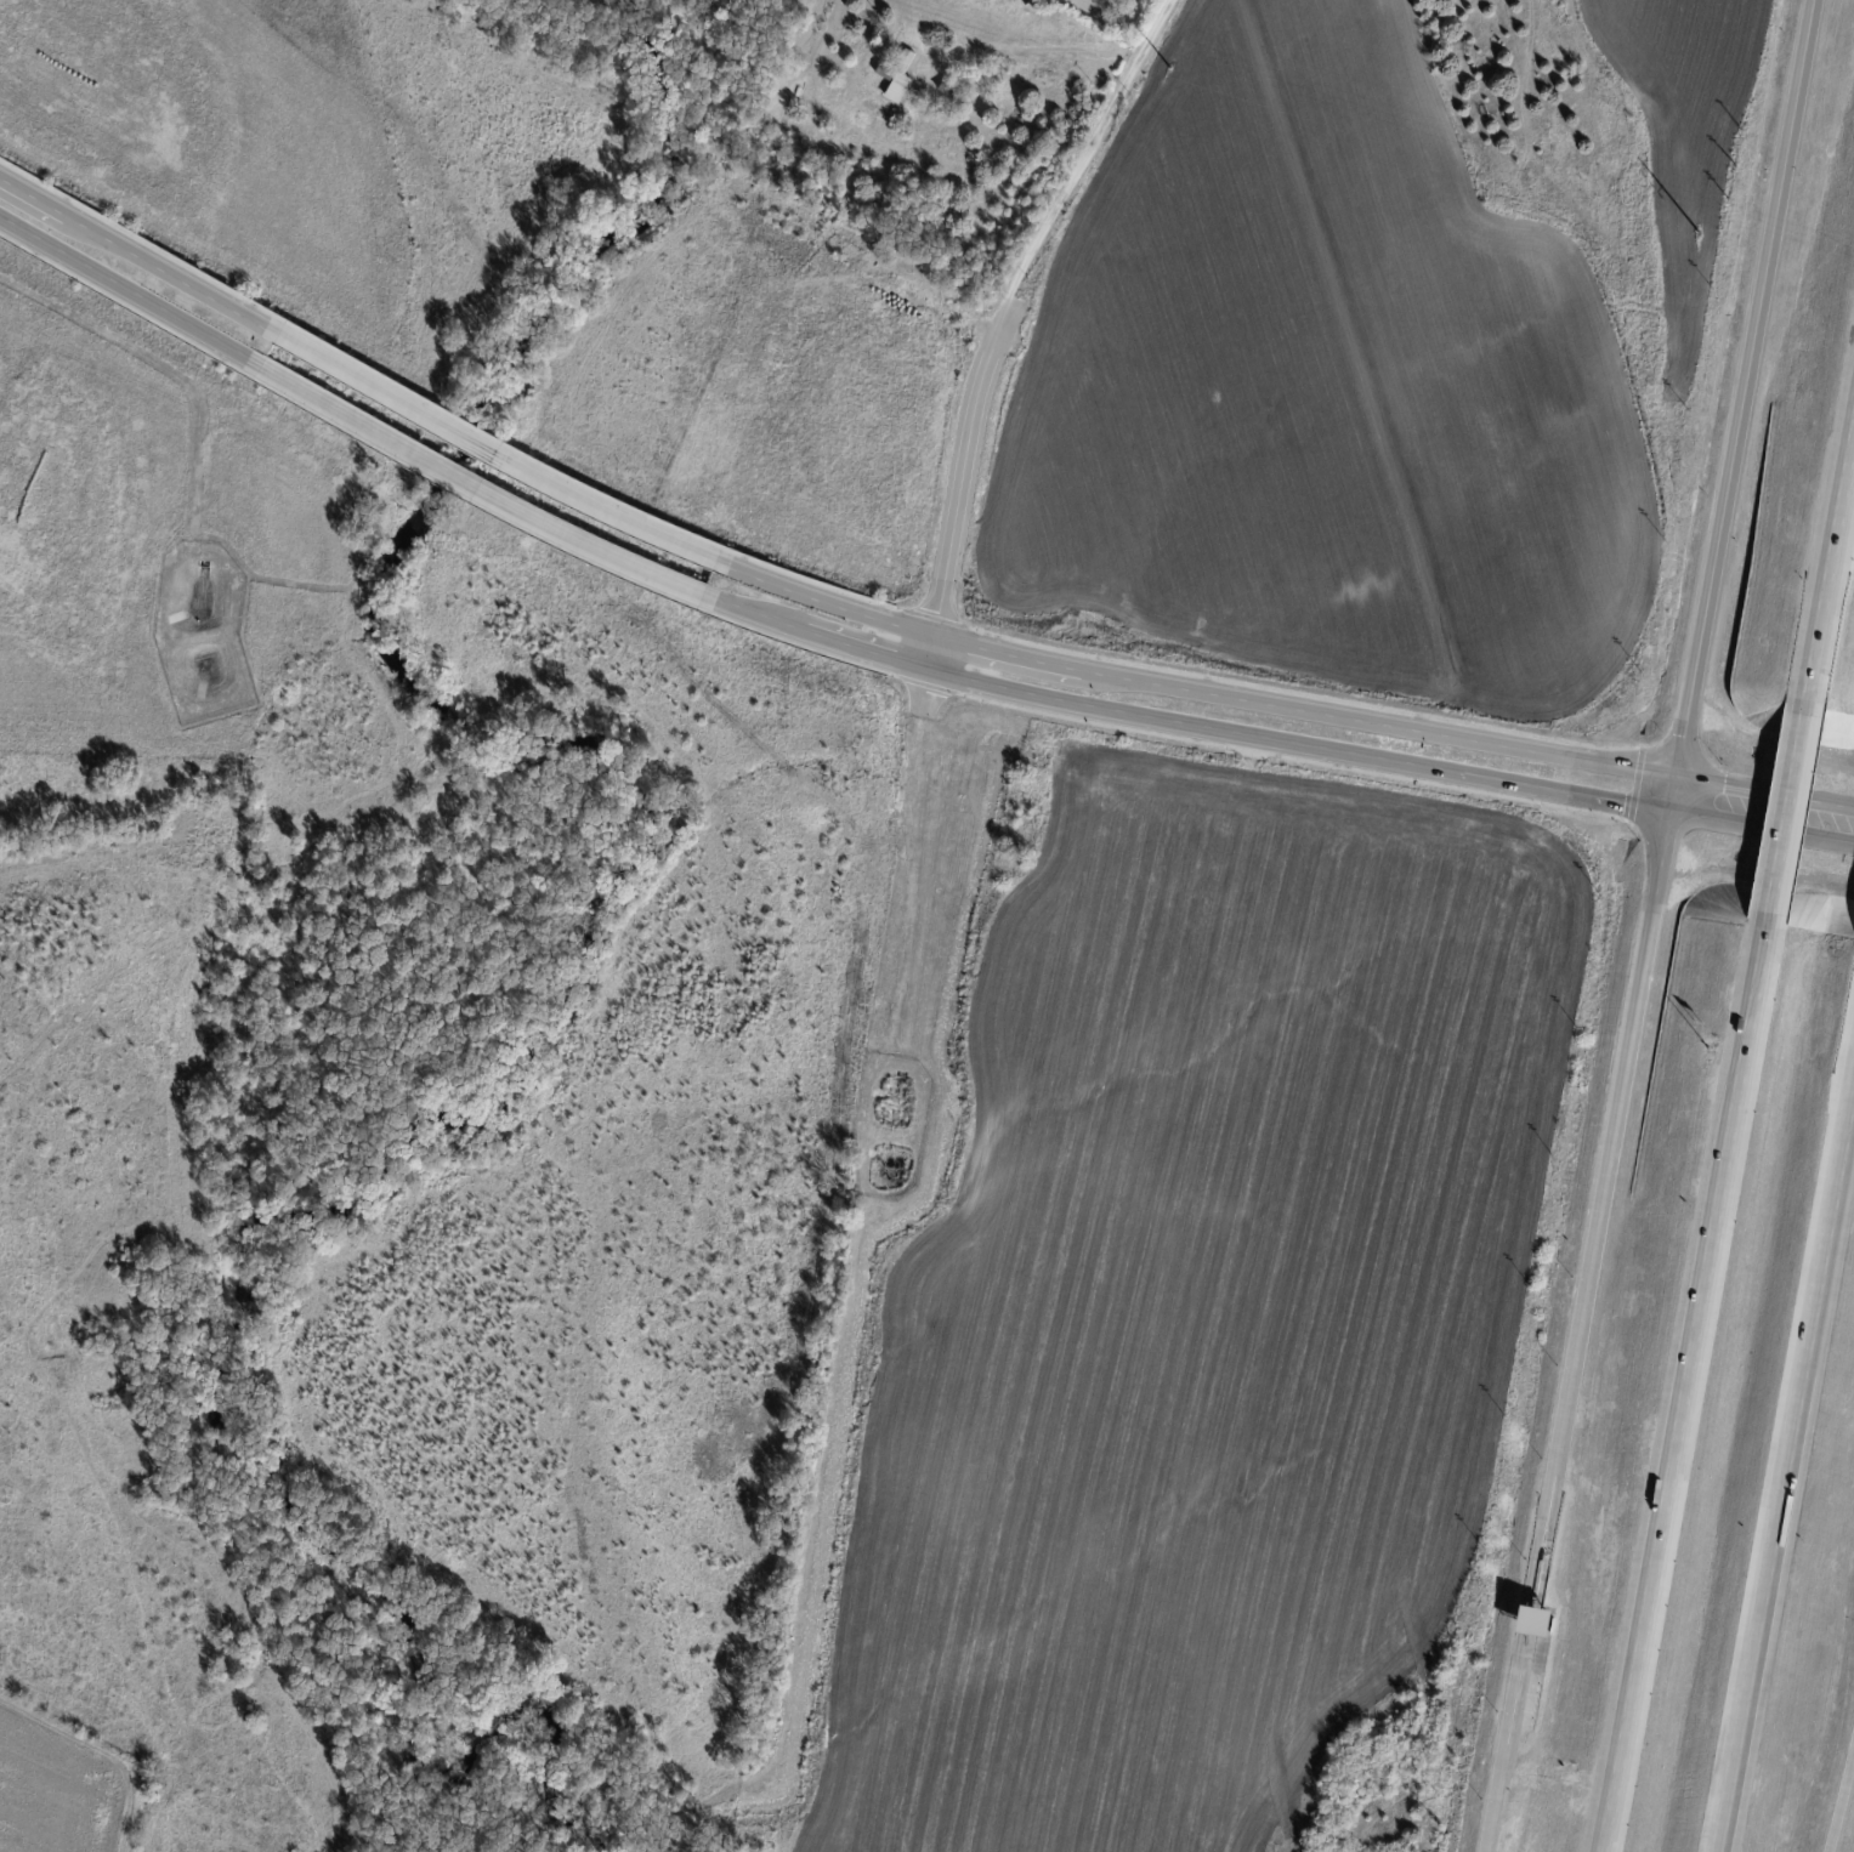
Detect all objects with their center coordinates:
building: (1032, 5)
building: (905, 62)
building: (880, 78)
building: (896, 89)
building: (952, 91)
road: (1088, 150)
road: (140, 255)
road: (130, 294)
road: (1744, 398)
road: (491, 451)
road: (959, 484)
road: (476, 490)
road: (1830, 555)
road: (1190, 691)
road: (1183, 726)
road: (1731, 806)
road: (1782, 806)
road: (1821, 823)
road: (1612, 1134)
road: (1683, 1390)
road: (1787, 1473)
road: (1537, 1539)
road: (1521, 1620)
building: (1530, 1621)
road: (1510, 1688)
road: (1841, 1796)
road: (1492, 1797)

